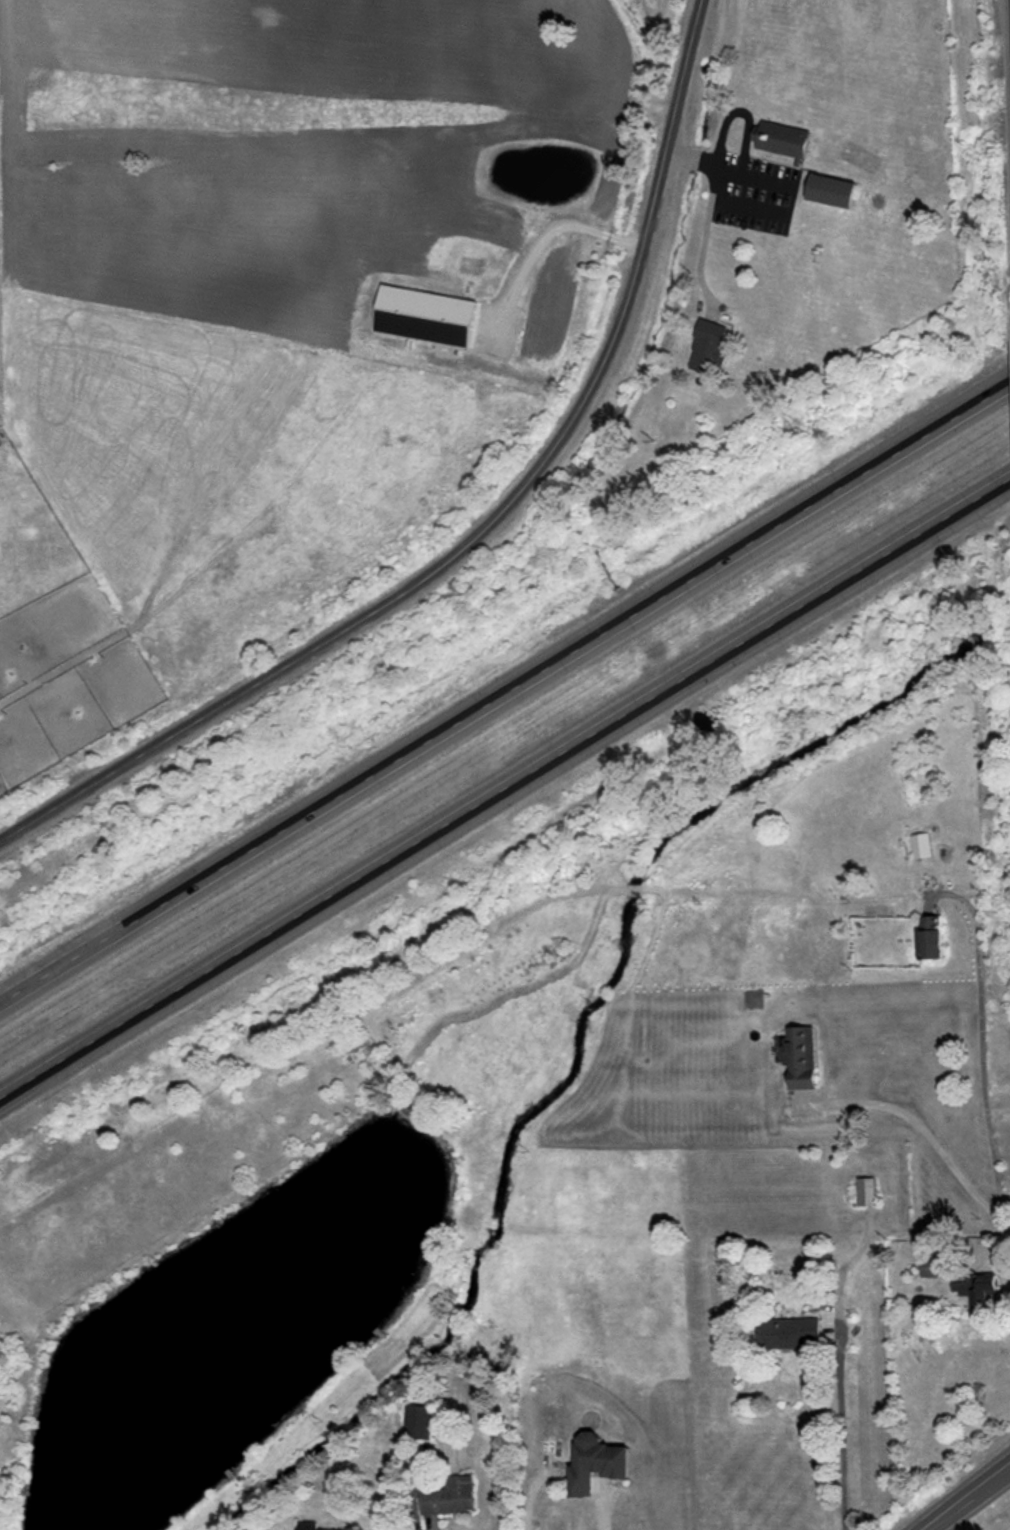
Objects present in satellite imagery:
building: (782, 138)
road: (725, 168)
building: (829, 190)
road: (749, 208)
road: (543, 235)
road: (704, 248)
building: (708, 346)
road: (488, 528)
road: (505, 696)
road: (504, 791)
building: (921, 846)
building: (929, 938)
road: (982, 1043)
building: (800, 1058)
road: (926, 1131)
building: (867, 1192)
building: (935, 1268)
building: (984, 1291)
park: (155, 1308)
building: (789, 1334)
building: (419, 1422)
road: (842, 1423)
building: (594, 1463)
building: (449, 1496)
road: (970, 1499)
road: (600, 1515)
road: (429, 1525)
building: (311, 1526)

